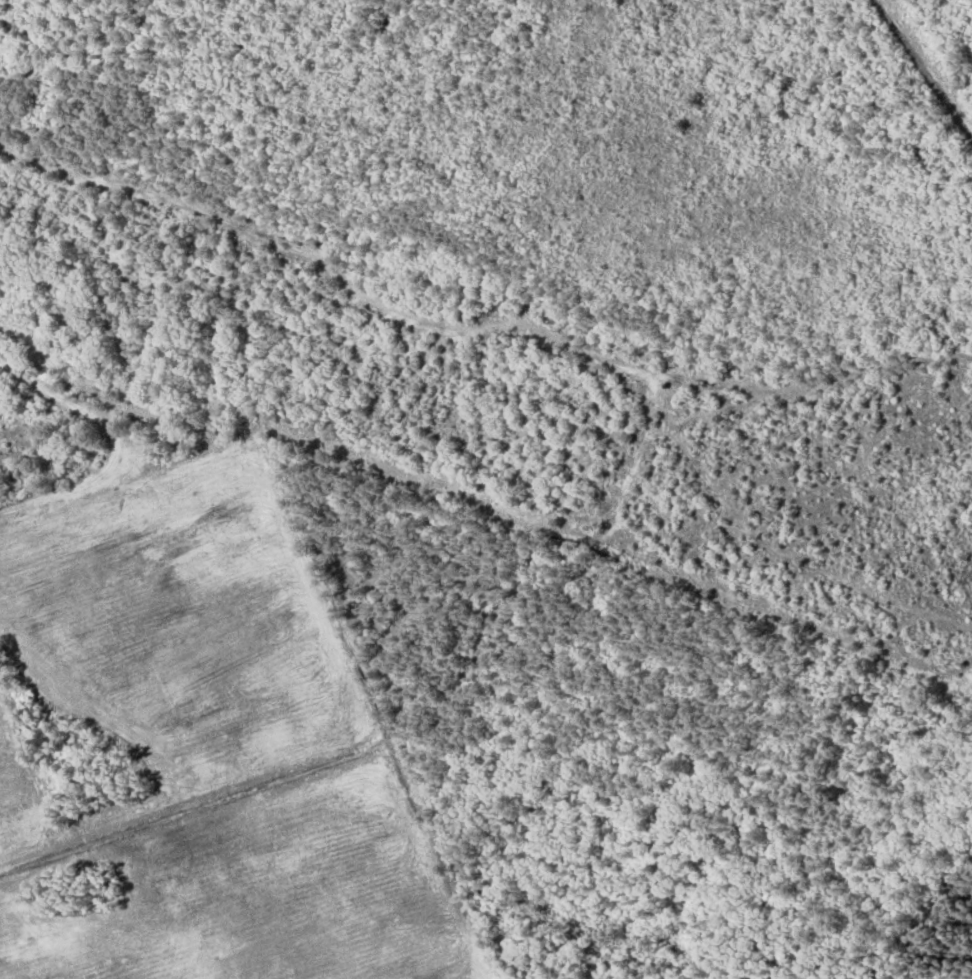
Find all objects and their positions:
road: (353, 735)

